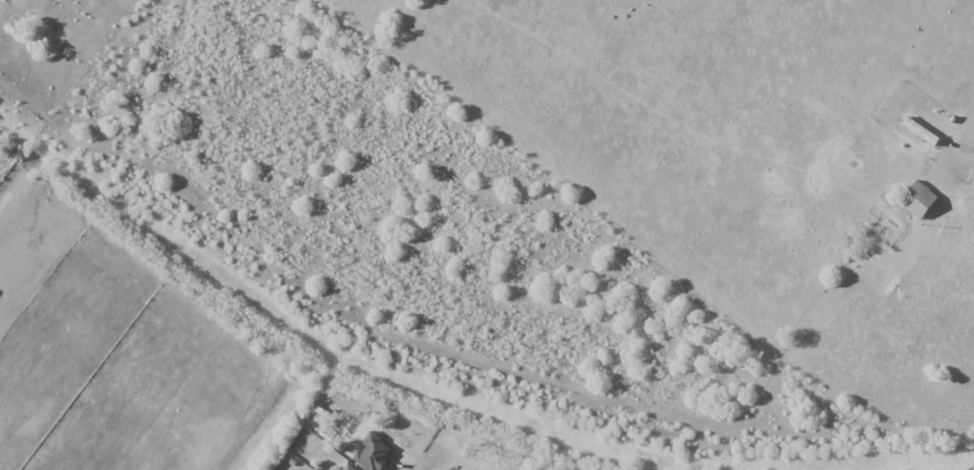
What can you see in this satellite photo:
crop: (119, 376)

